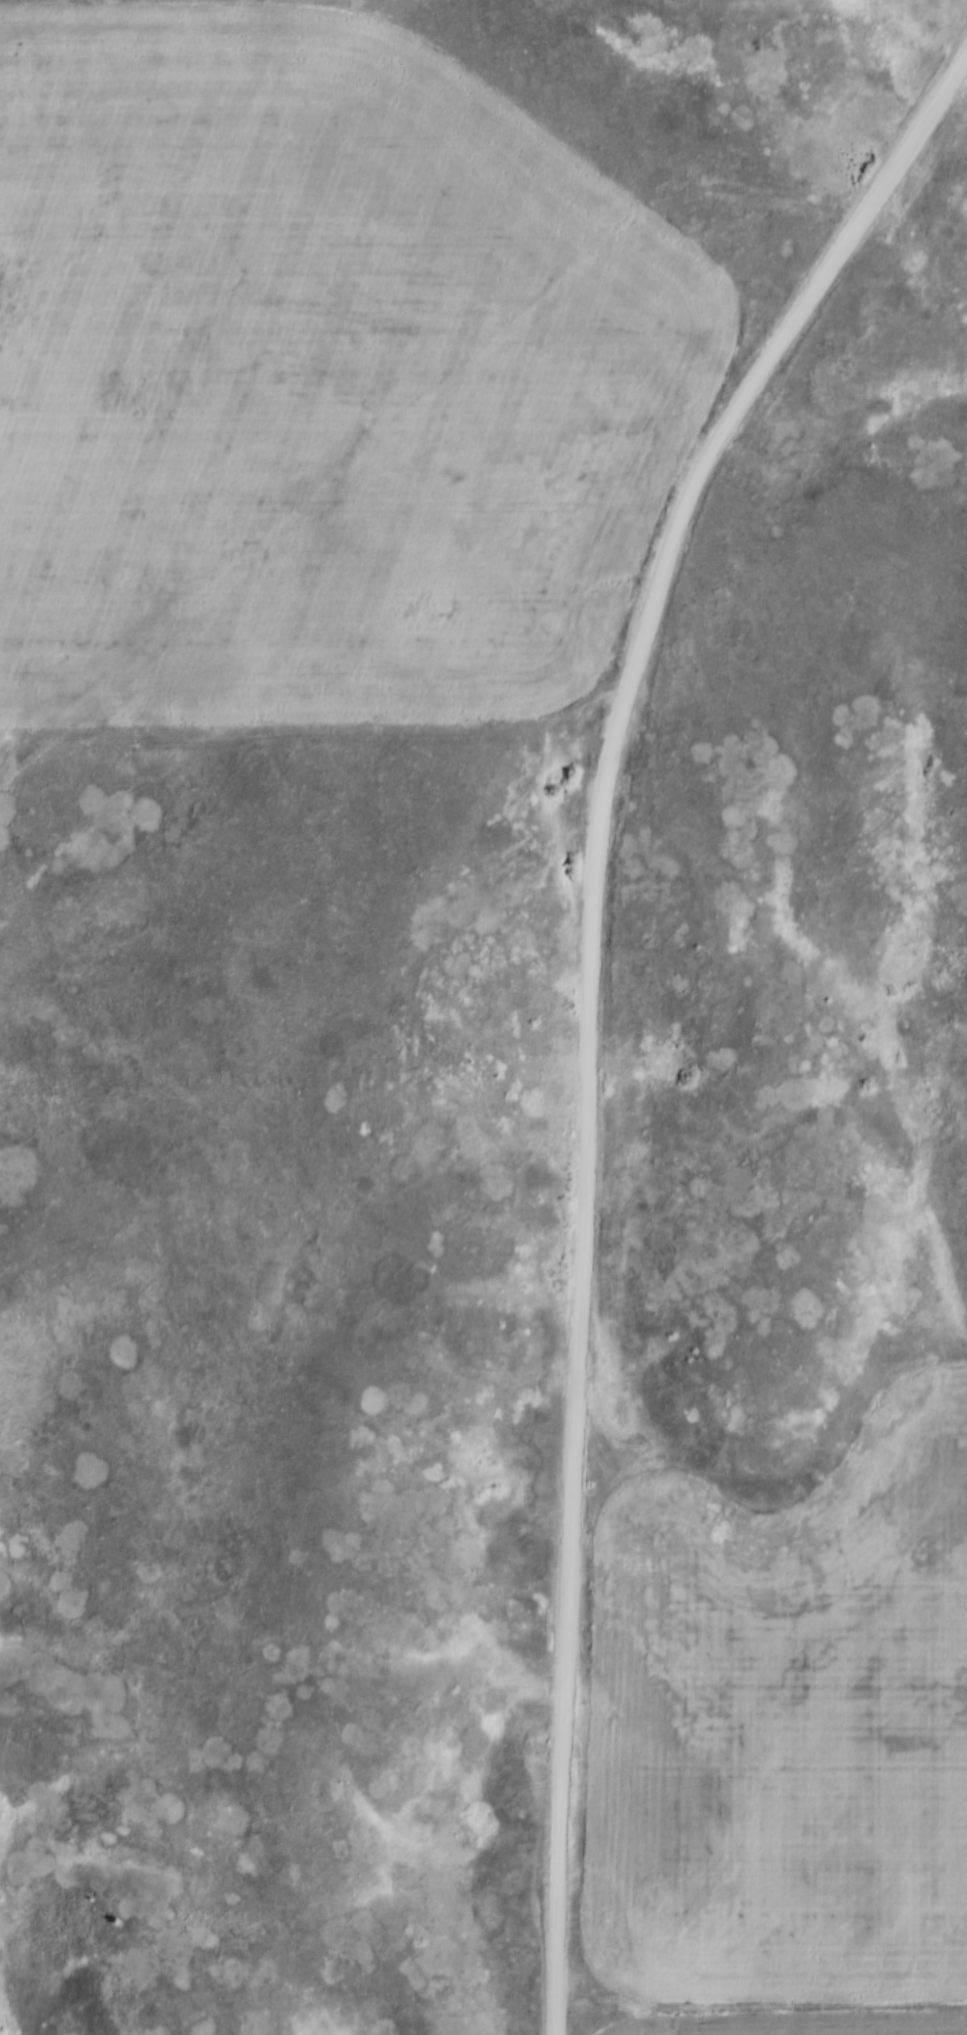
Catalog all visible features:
road: (587, 1001)

